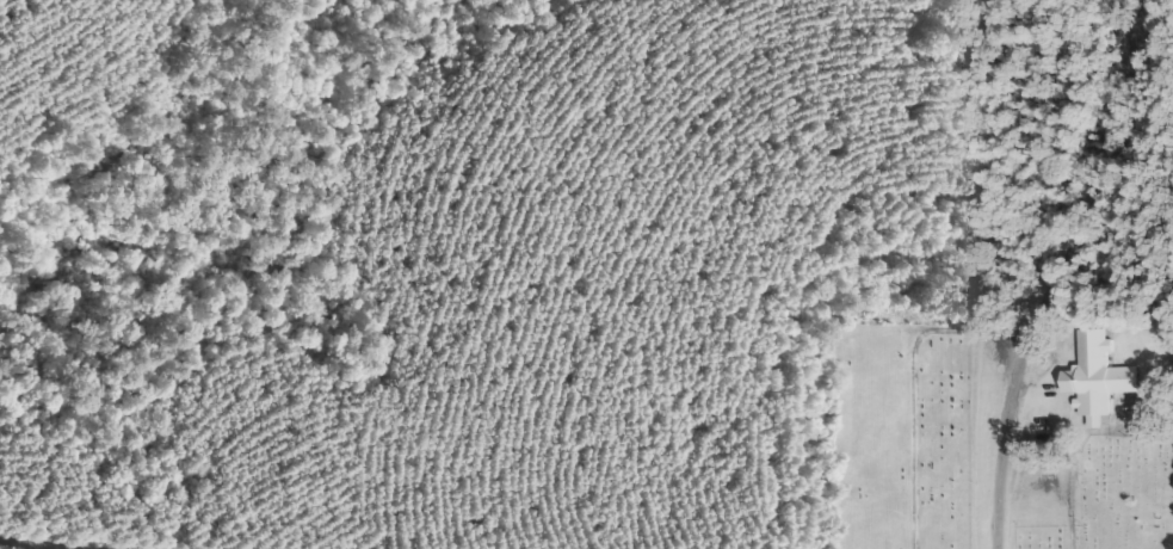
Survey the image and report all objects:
road: (1084, 274)
building: (1095, 375)
park: (998, 428)

